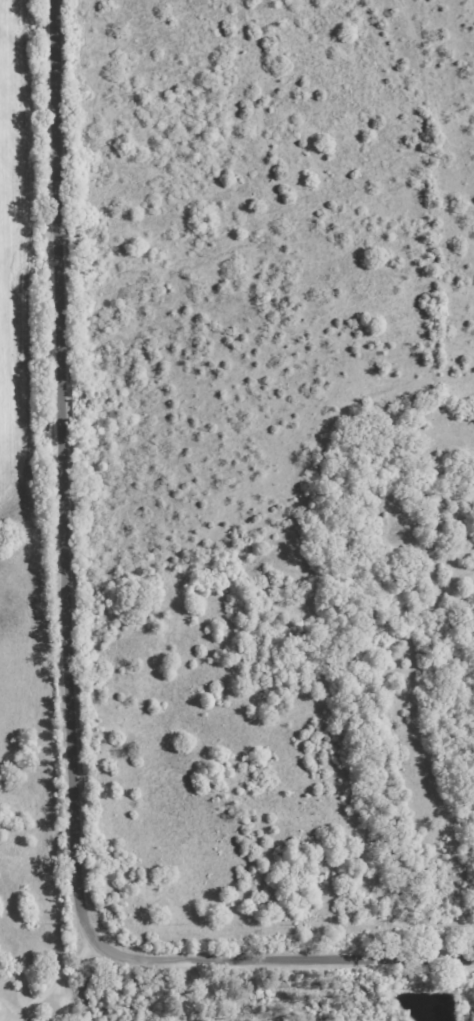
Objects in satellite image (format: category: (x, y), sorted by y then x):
road: (66, 656)

